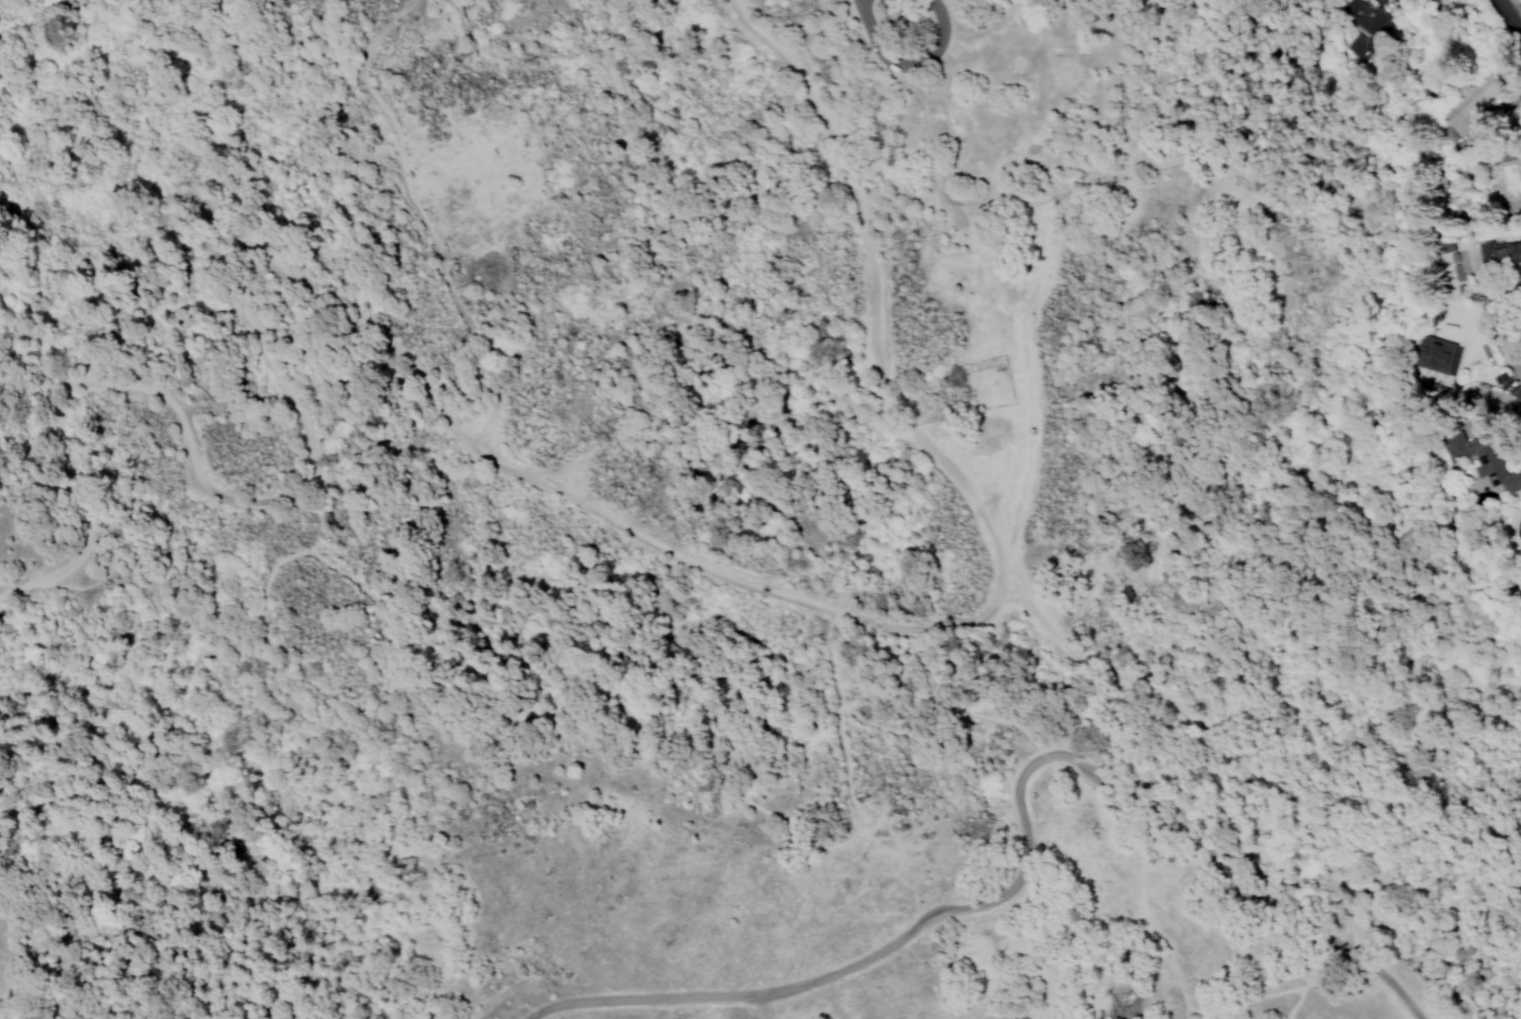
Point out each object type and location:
road: (1510, 14)
building: (1367, 24)
road: (908, 65)
building: (1465, 106)
road: (929, 140)
road: (1215, 144)
road: (417, 218)
building: (1443, 246)
building: (1498, 254)
road: (985, 266)
building: (1456, 272)
building: (1433, 355)
road: (1025, 370)
building: (1480, 460)
road: (520, 476)
road: (830, 659)
road: (1209, 736)
road: (707, 763)
road: (1010, 884)
road: (1381, 979)
road: (1276, 993)
road: (1293, 1004)
road: (1180, 1015)

